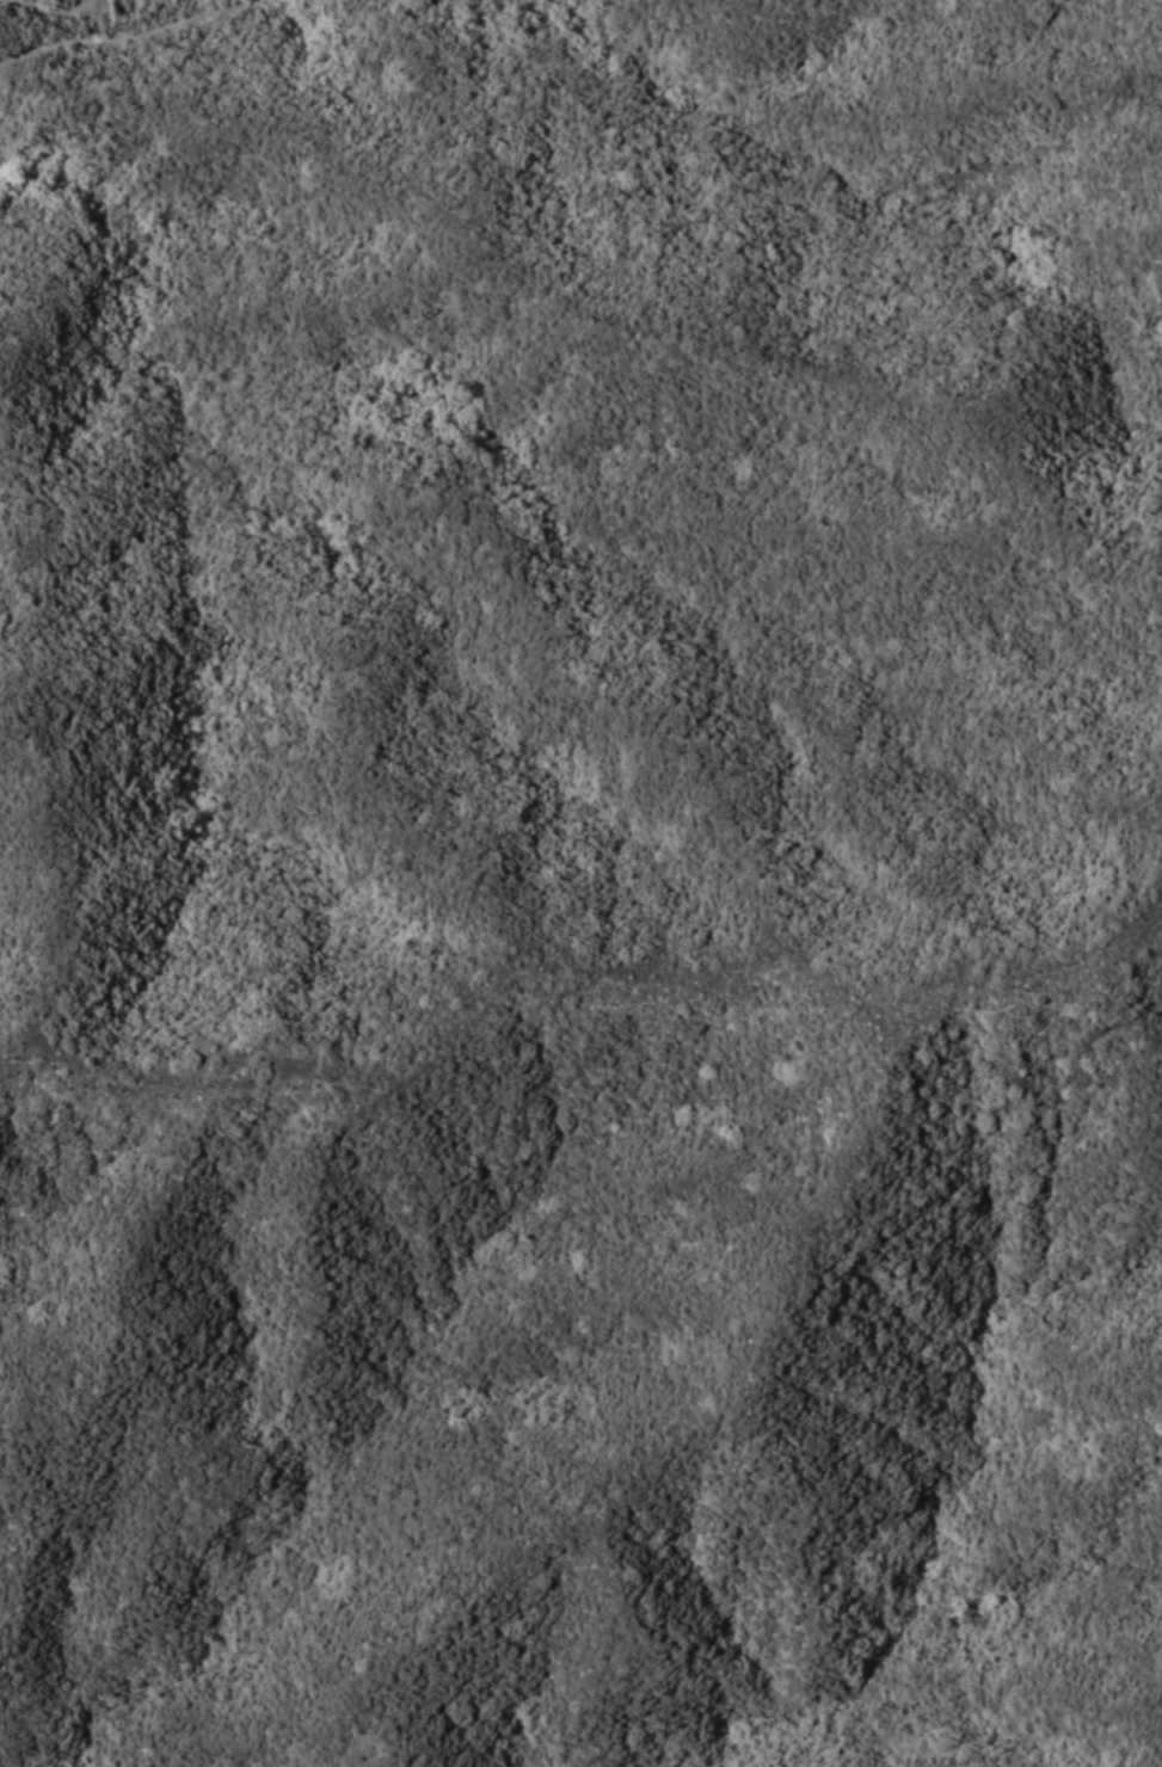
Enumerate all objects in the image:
road: (50, 10)
road: (124, 35)

